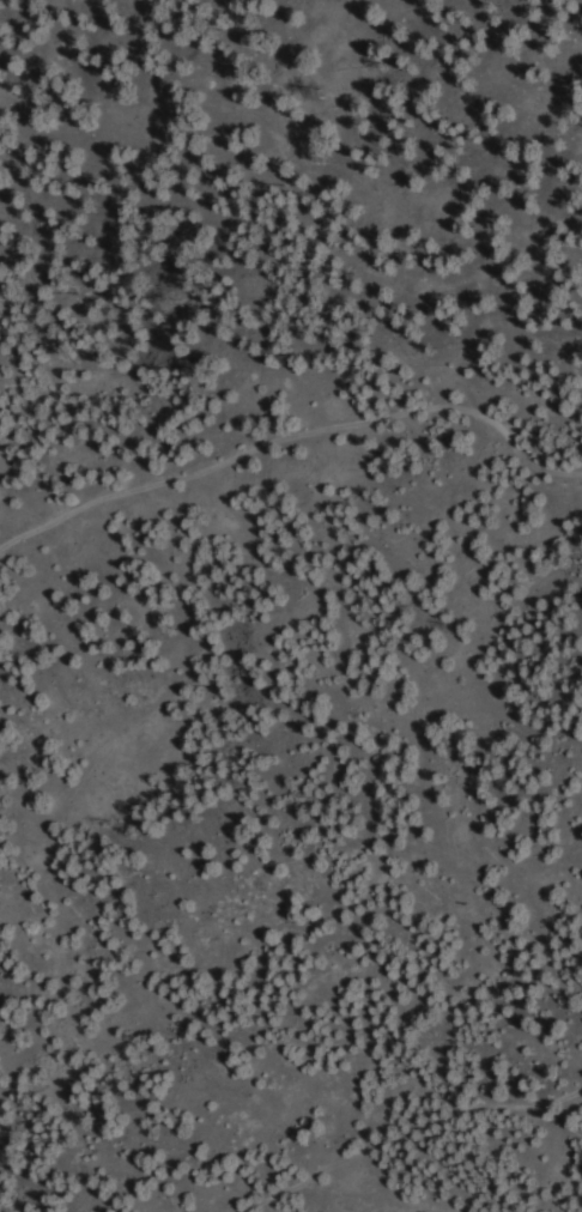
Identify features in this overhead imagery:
road: (293, 444)
road: (414, 1138)

